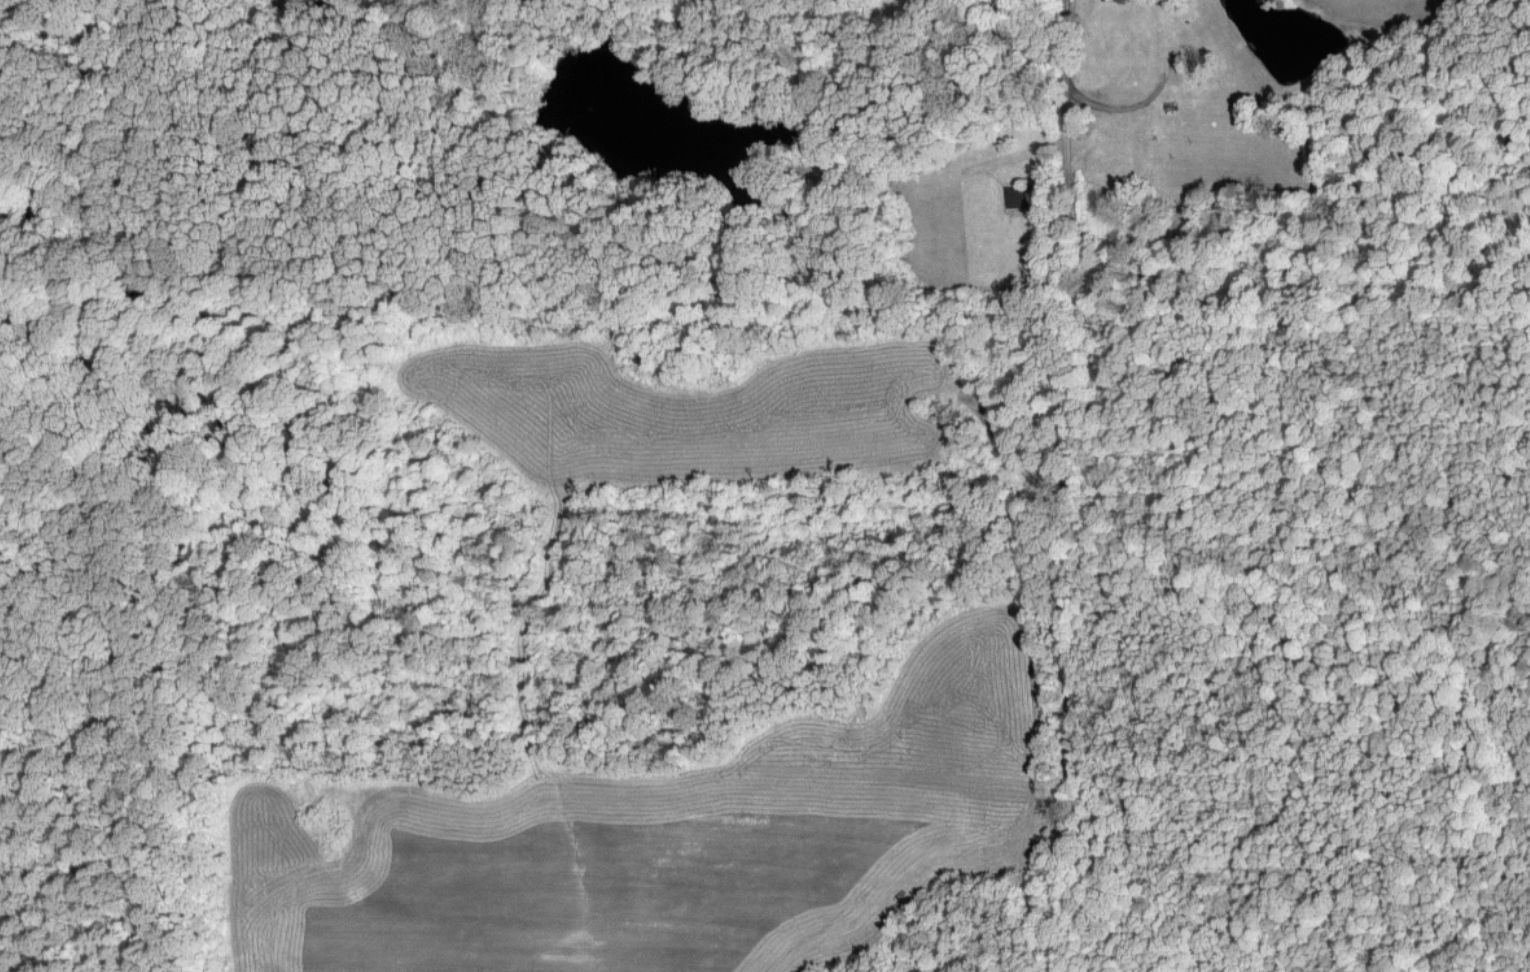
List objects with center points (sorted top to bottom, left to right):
road: (1062, 486)

